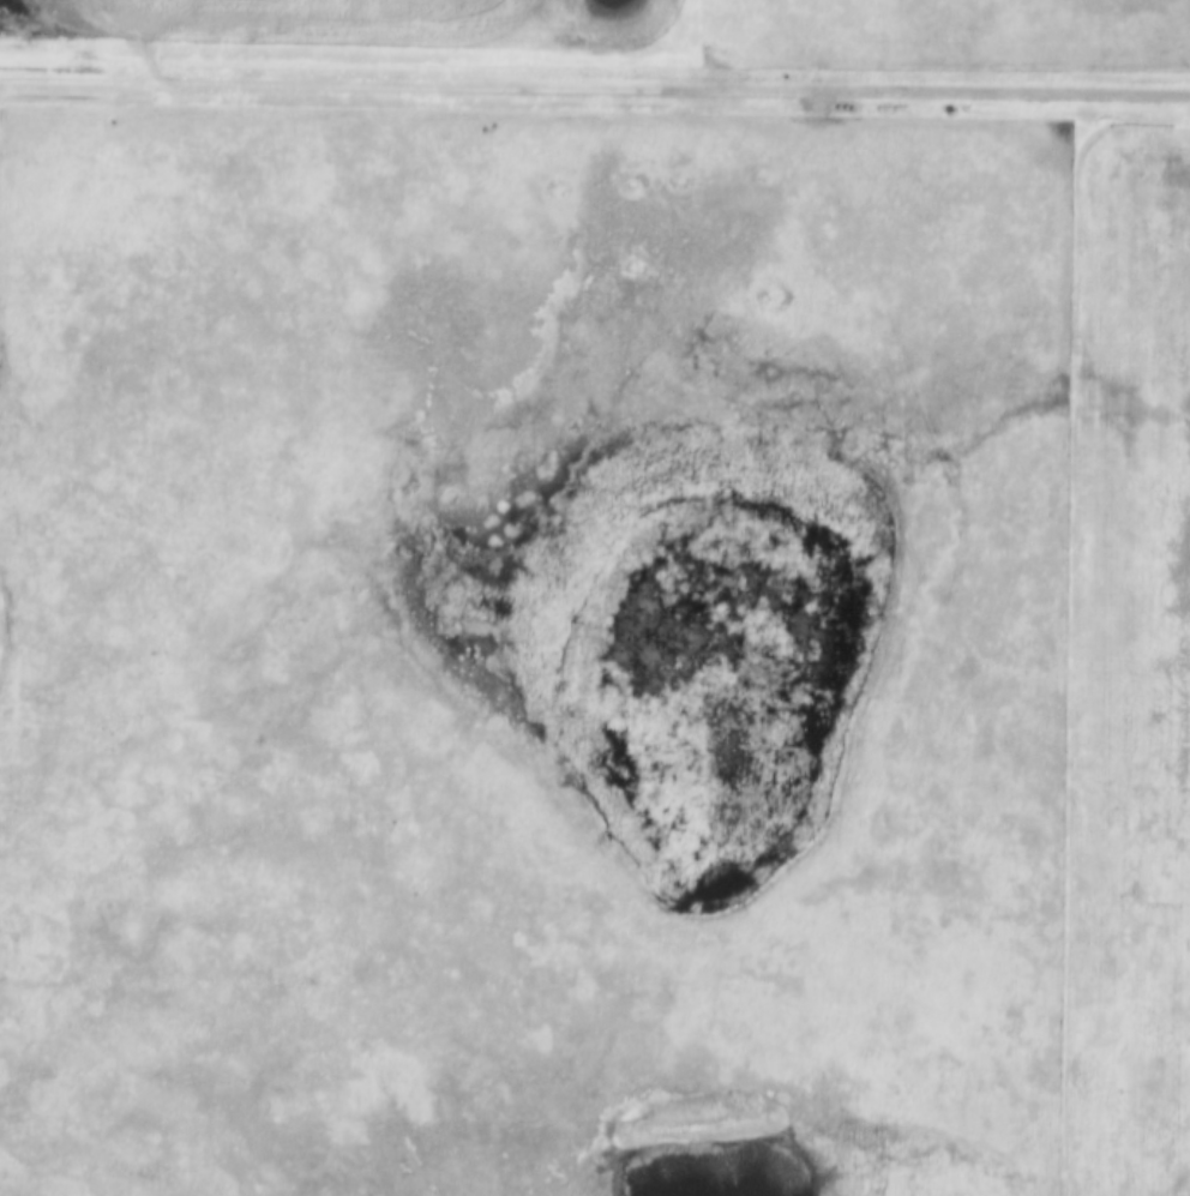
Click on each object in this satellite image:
road: (594, 83)

